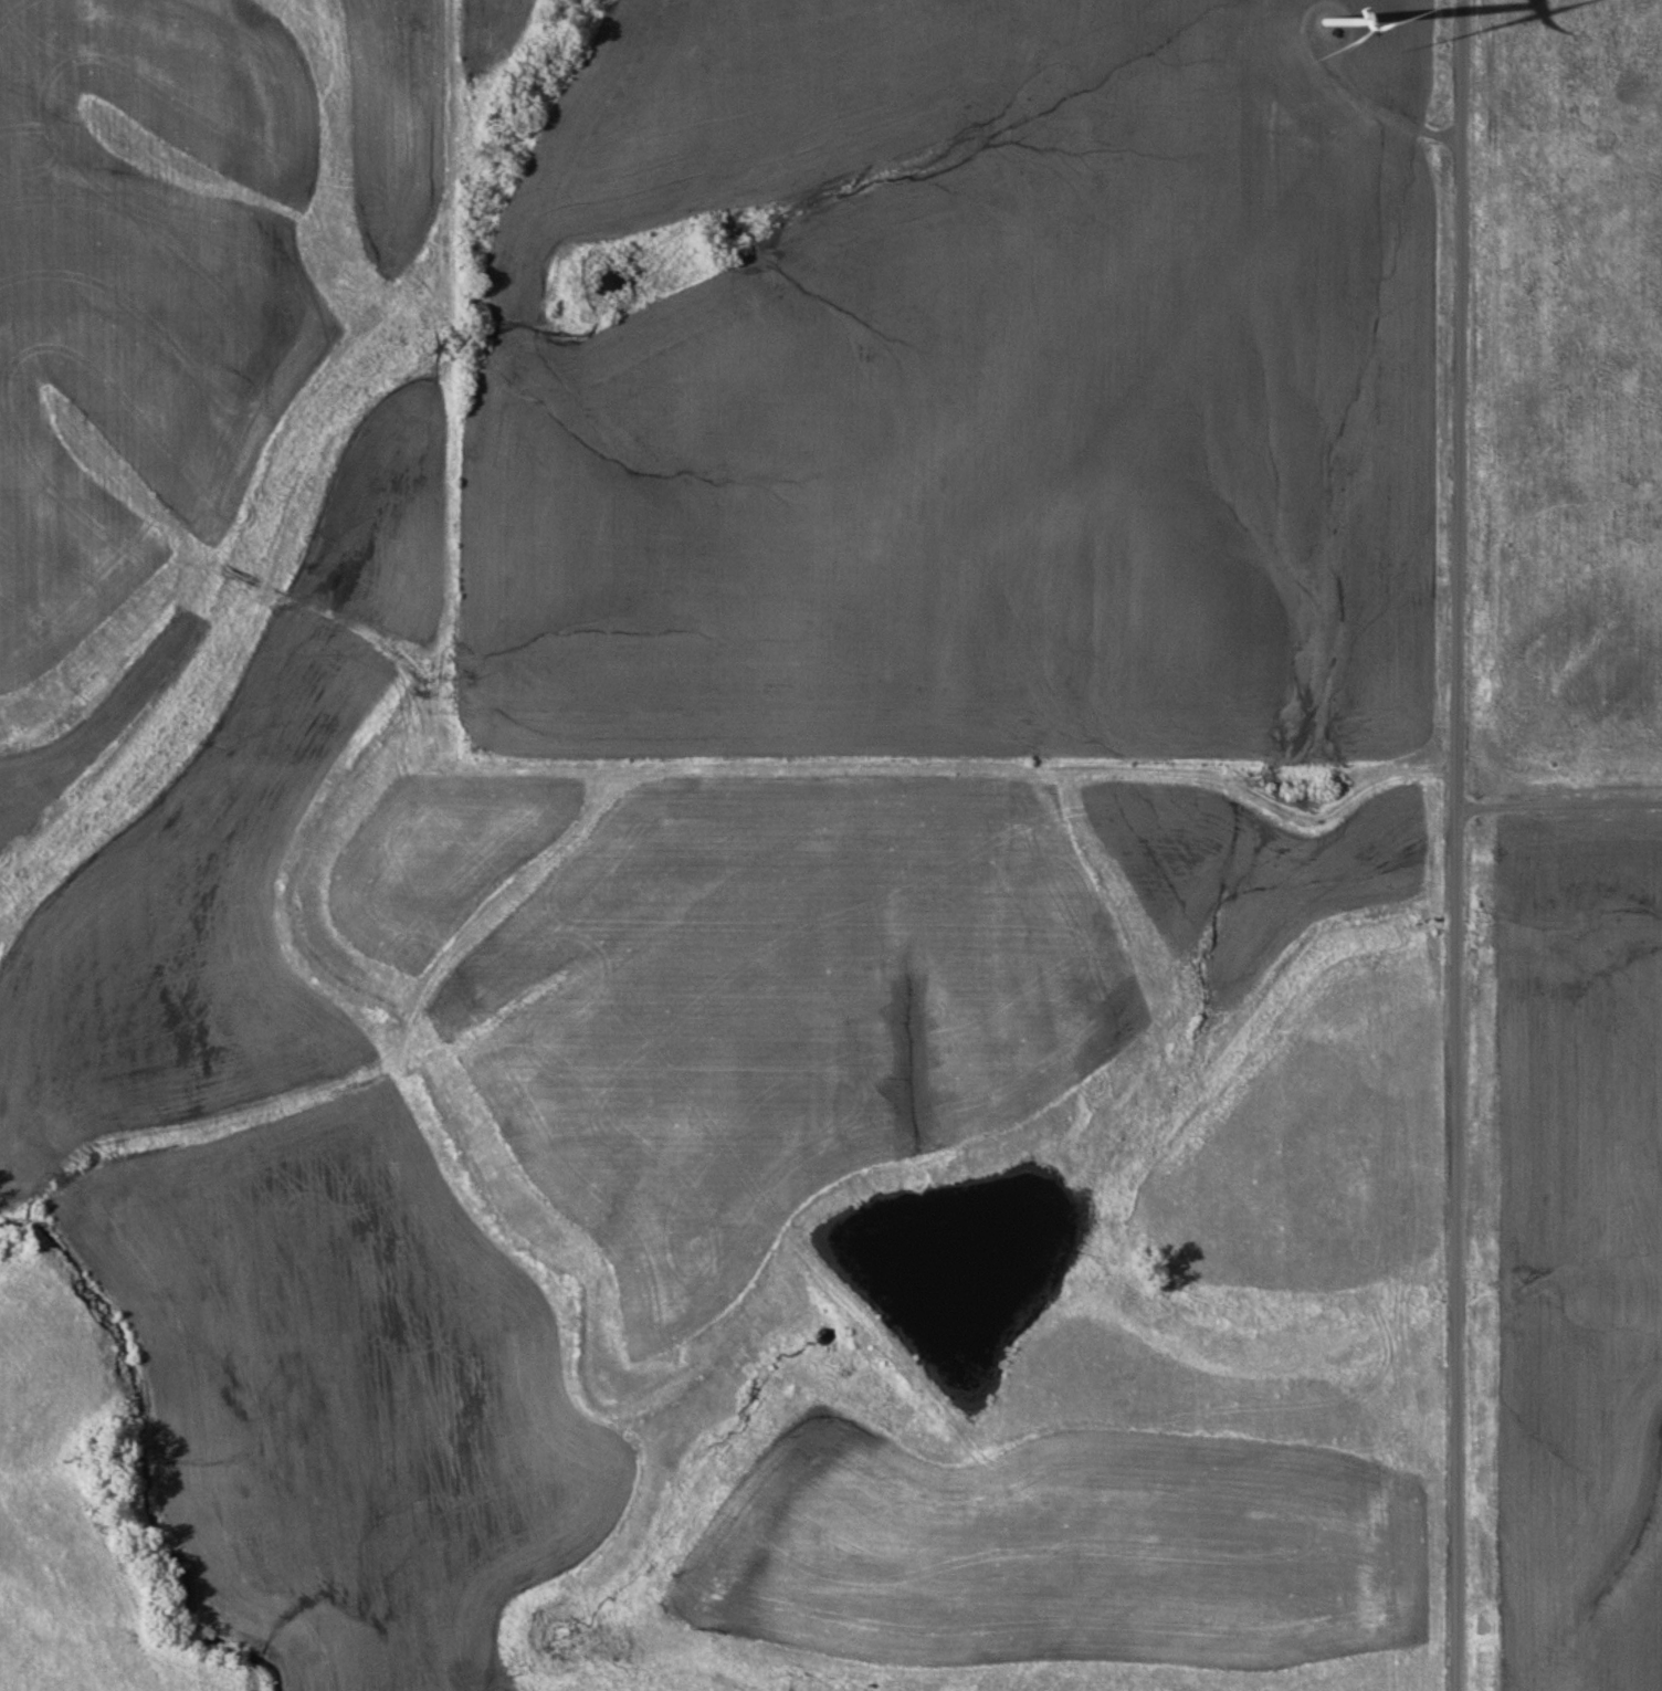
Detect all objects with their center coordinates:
wind turbine: (1322, 23)
road: (1374, 108)
road: (1557, 806)
road: (1453, 844)

